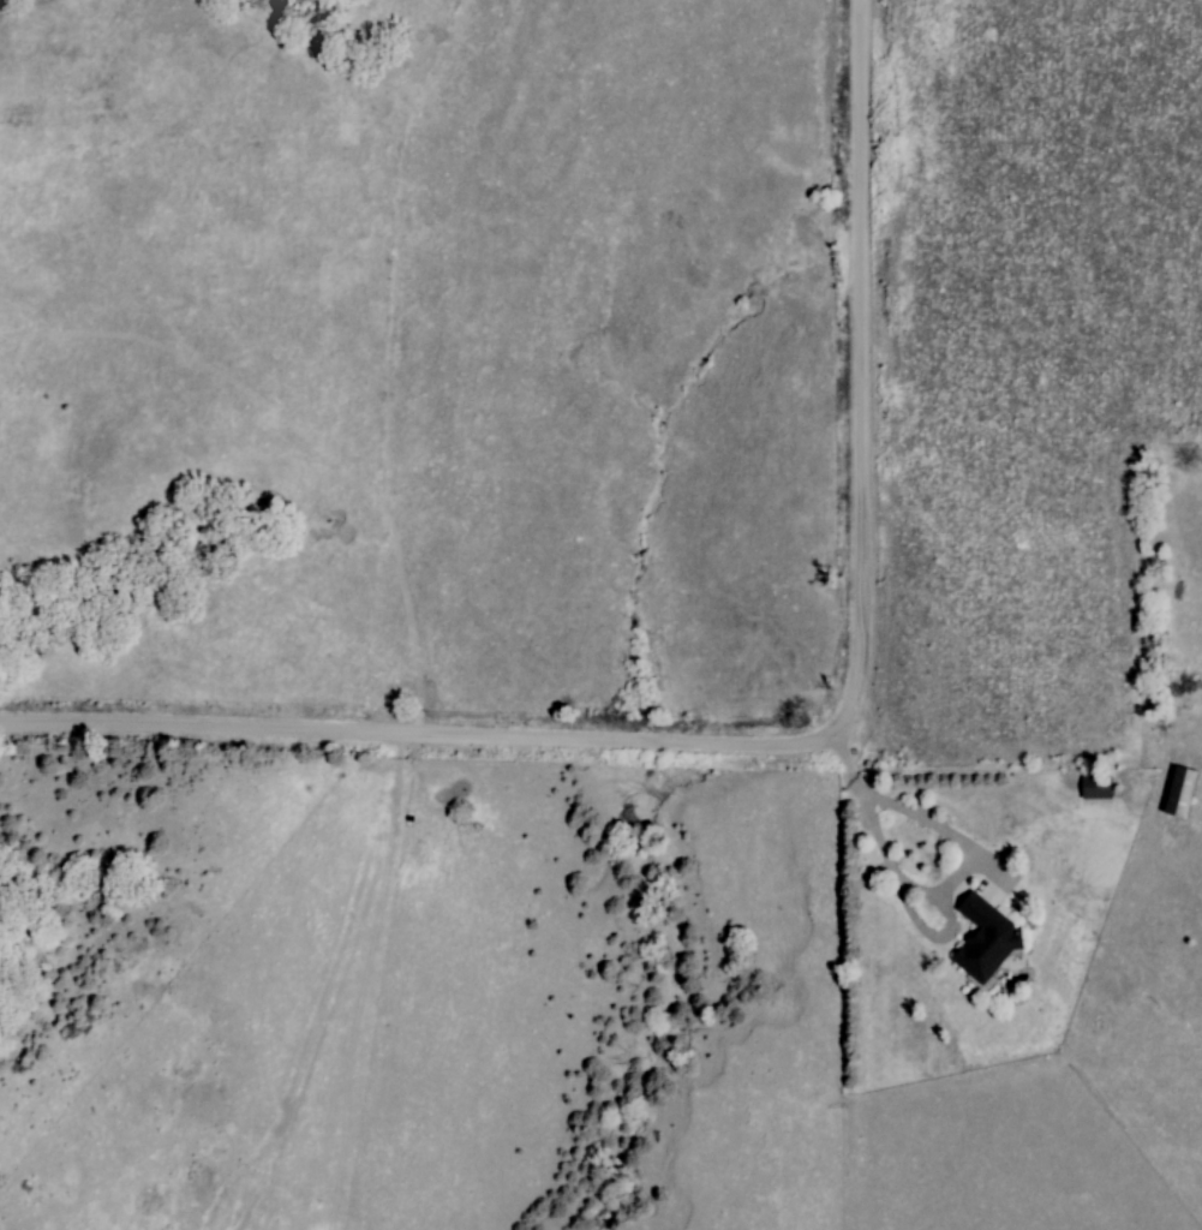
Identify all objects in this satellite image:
road: (789, 750)
building: (1099, 789)
building: (1184, 790)
building: (988, 939)

